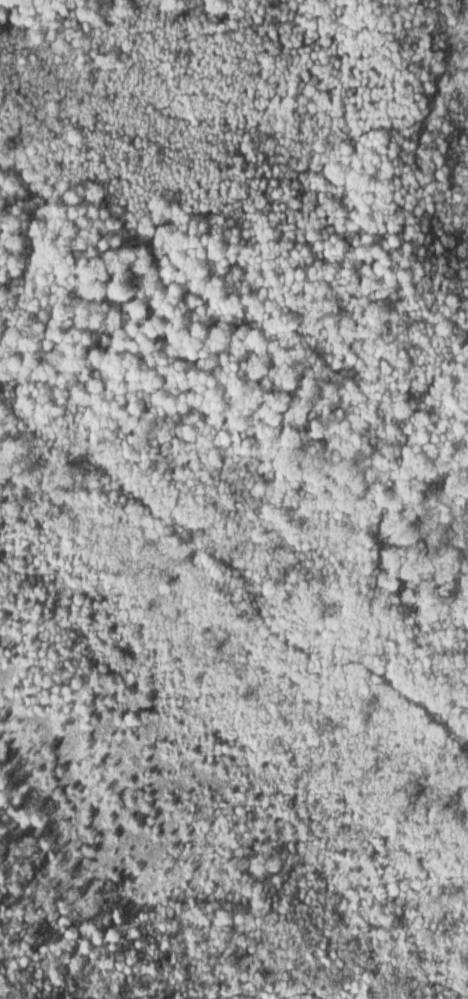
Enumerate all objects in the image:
road: (440, 988)
road: (303, 992)
road: (218, 997)

